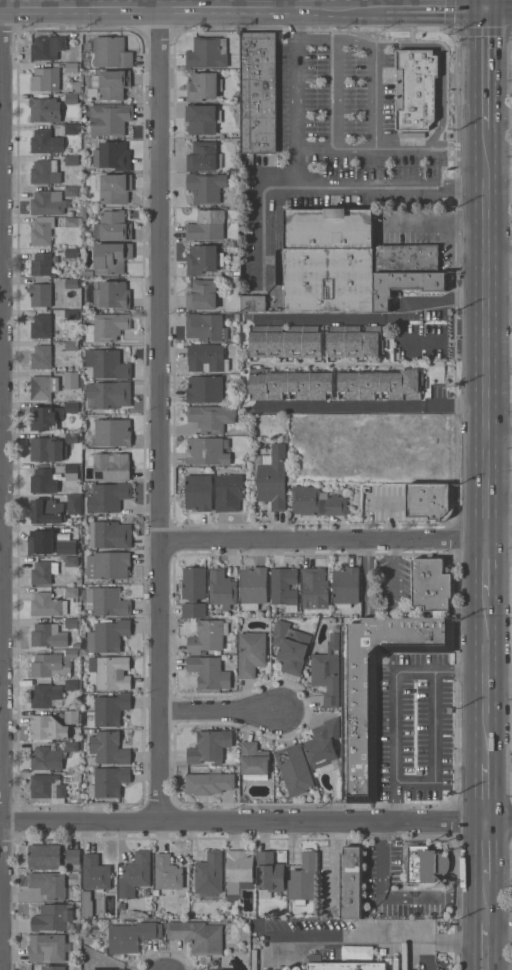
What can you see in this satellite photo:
road: (289, 2)
road: (375, 2)
road: (418, 2)
road: (483, 2)
road: (429, 4)
traffic signals: (483, 4)
road: (497, 4)
road: (187, 5)
road: (315, 40)
building: (47, 48)
building: (112, 52)
building: (208, 53)
road: (334, 74)
road: (484, 76)
building: (46, 79)
building: (112, 84)
building: (203, 86)
building: (258, 92)
building: (415, 92)
road: (296, 96)
road: (374, 99)
building: (45, 109)
building: (202, 118)
road: (498, 118)
building: (109, 119)
building: (46, 142)
road: (315, 149)
road: (388, 149)
building: (112, 156)
building: (204, 156)
building: (45, 172)
building: (206, 187)
building: (115, 188)
road: (324, 190)
building: (71, 191)
building: (48, 202)
road: (434, 223)
building: (207, 225)
building: (113, 226)
building: (42, 231)
road: (498, 247)
building: (112, 257)
building: (406, 258)
building: (203, 259)
building: (328, 260)
building: (41, 264)
building: (405, 285)
building: (40, 294)
building: (111, 294)
building: (202, 295)
road: (404, 301)
building: (253, 302)
road: (324, 318)
building: (41, 326)
building: (107, 327)
building: (206, 327)
building: (284, 341)
building: (354, 341)
road: (484, 343)
building: (41, 357)
building: (206, 358)
building: (108, 364)
building: (71, 379)
building: (289, 384)
building: (381, 384)
building: (43, 387)
building: (204, 389)
building: (108, 394)
building: (71, 406)
road: (364, 407)
road: (159, 414)
building: (45, 417)
building: (211, 417)
building: (112, 432)
road: (498, 435)
building: (47, 449)
building: (206, 451)
building: (110, 466)
building: (71, 472)
building: (272, 477)
building: (43, 481)
road: (1, 488)
building: (229, 492)
building: (199, 493)
building: (356, 496)
building: (108, 497)
building: (317, 501)
building: (429, 501)
building: (74, 503)
building: (47, 511)
road: (498, 514)
building: (110, 534)
road: (322, 539)
building: (40, 541)
building: (66, 547)
building: (70, 560)
building: (108, 565)
building: (44, 572)
road: (485, 582)
building: (431, 584)
building: (345, 586)
building: (253, 587)
building: (222, 588)
building: (284, 588)
building: (314, 588)
building: (193, 591)
building: (106, 601)
building: (48, 605)
building: (42, 634)
building: (107, 635)
building: (207, 636)
building: (290, 647)
building: (251, 654)
building: (49, 666)
road: (498, 668)
building: (111, 672)
building: (209, 672)
building: (327, 672)
road: (484, 682)
building: (45, 695)
building: (109, 710)
road: (220, 712)
building: (71, 716)
building: (48, 727)
road: (393, 727)
building: (362, 733)
building: (322, 743)
building: (209, 746)
building: (108, 749)
building: (46, 758)
building: (254, 761)
building: (294, 769)
road: (484, 780)
building: (109, 781)
building: (209, 783)
building: (47, 786)
road: (395, 804)
road: (243, 822)
road: (499, 823)
road: (485, 852)
building: (44, 856)
building: (73, 858)
building: (426, 865)
building: (239, 872)
building: (95, 873)
building: (209, 873)
building: (134, 874)
building: (167, 874)
building: (269, 874)
building: (303, 878)
building: (351, 882)
building: (50, 884)
road: (485, 890)
road: (392, 901)
building: (86, 905)
road: (485, 910)
road: (498, 914)
building: (52, 917)
building: (353, 924)
building: (132, 936)
building: (197, 936)
road: (373, 940)
road: (485, 946)
building: (47, 948)
road: (428, 955)
building: (346, 966)
building: (53, 968)
building: (104, 969)
building: (226, 969)

